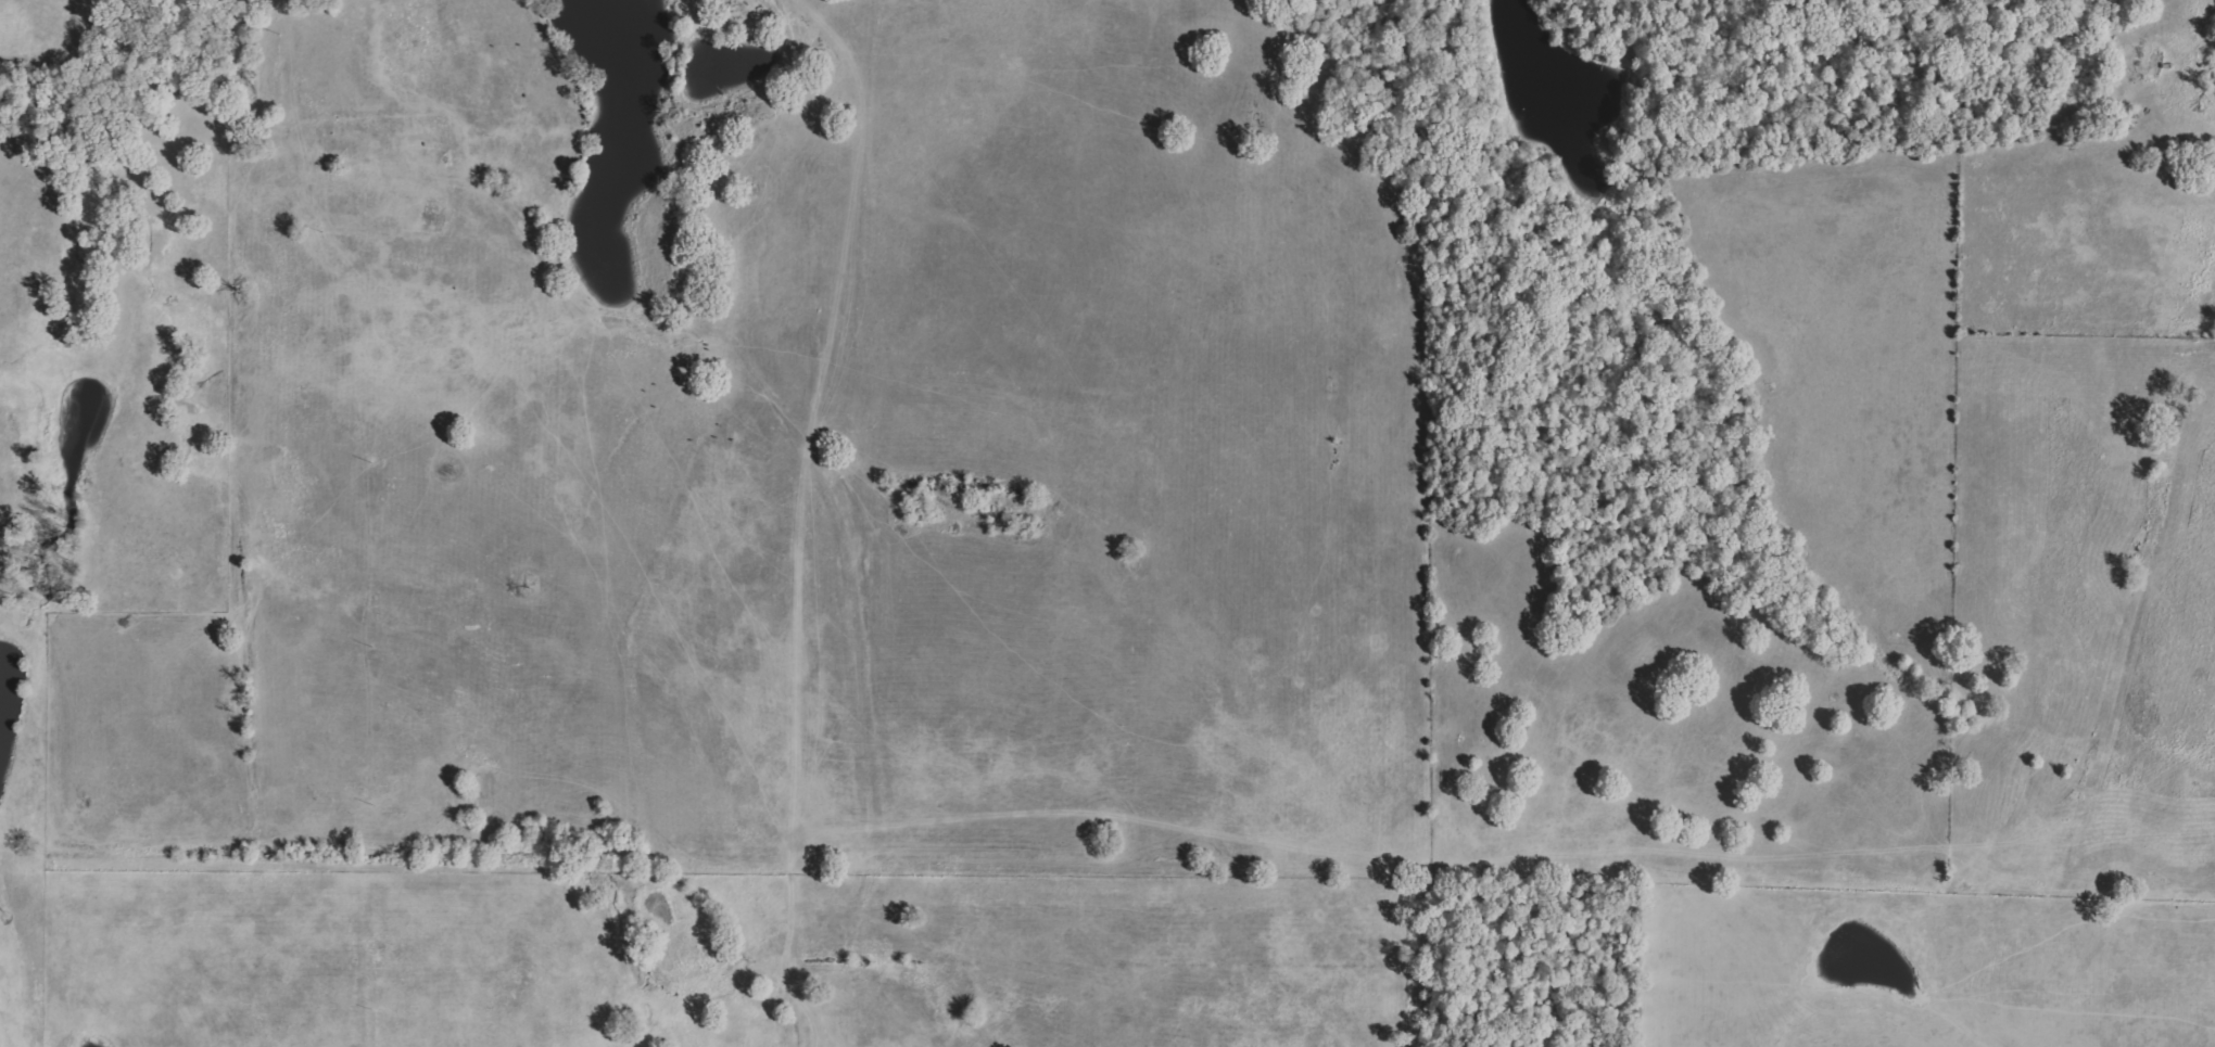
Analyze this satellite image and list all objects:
road: (238, 56)

